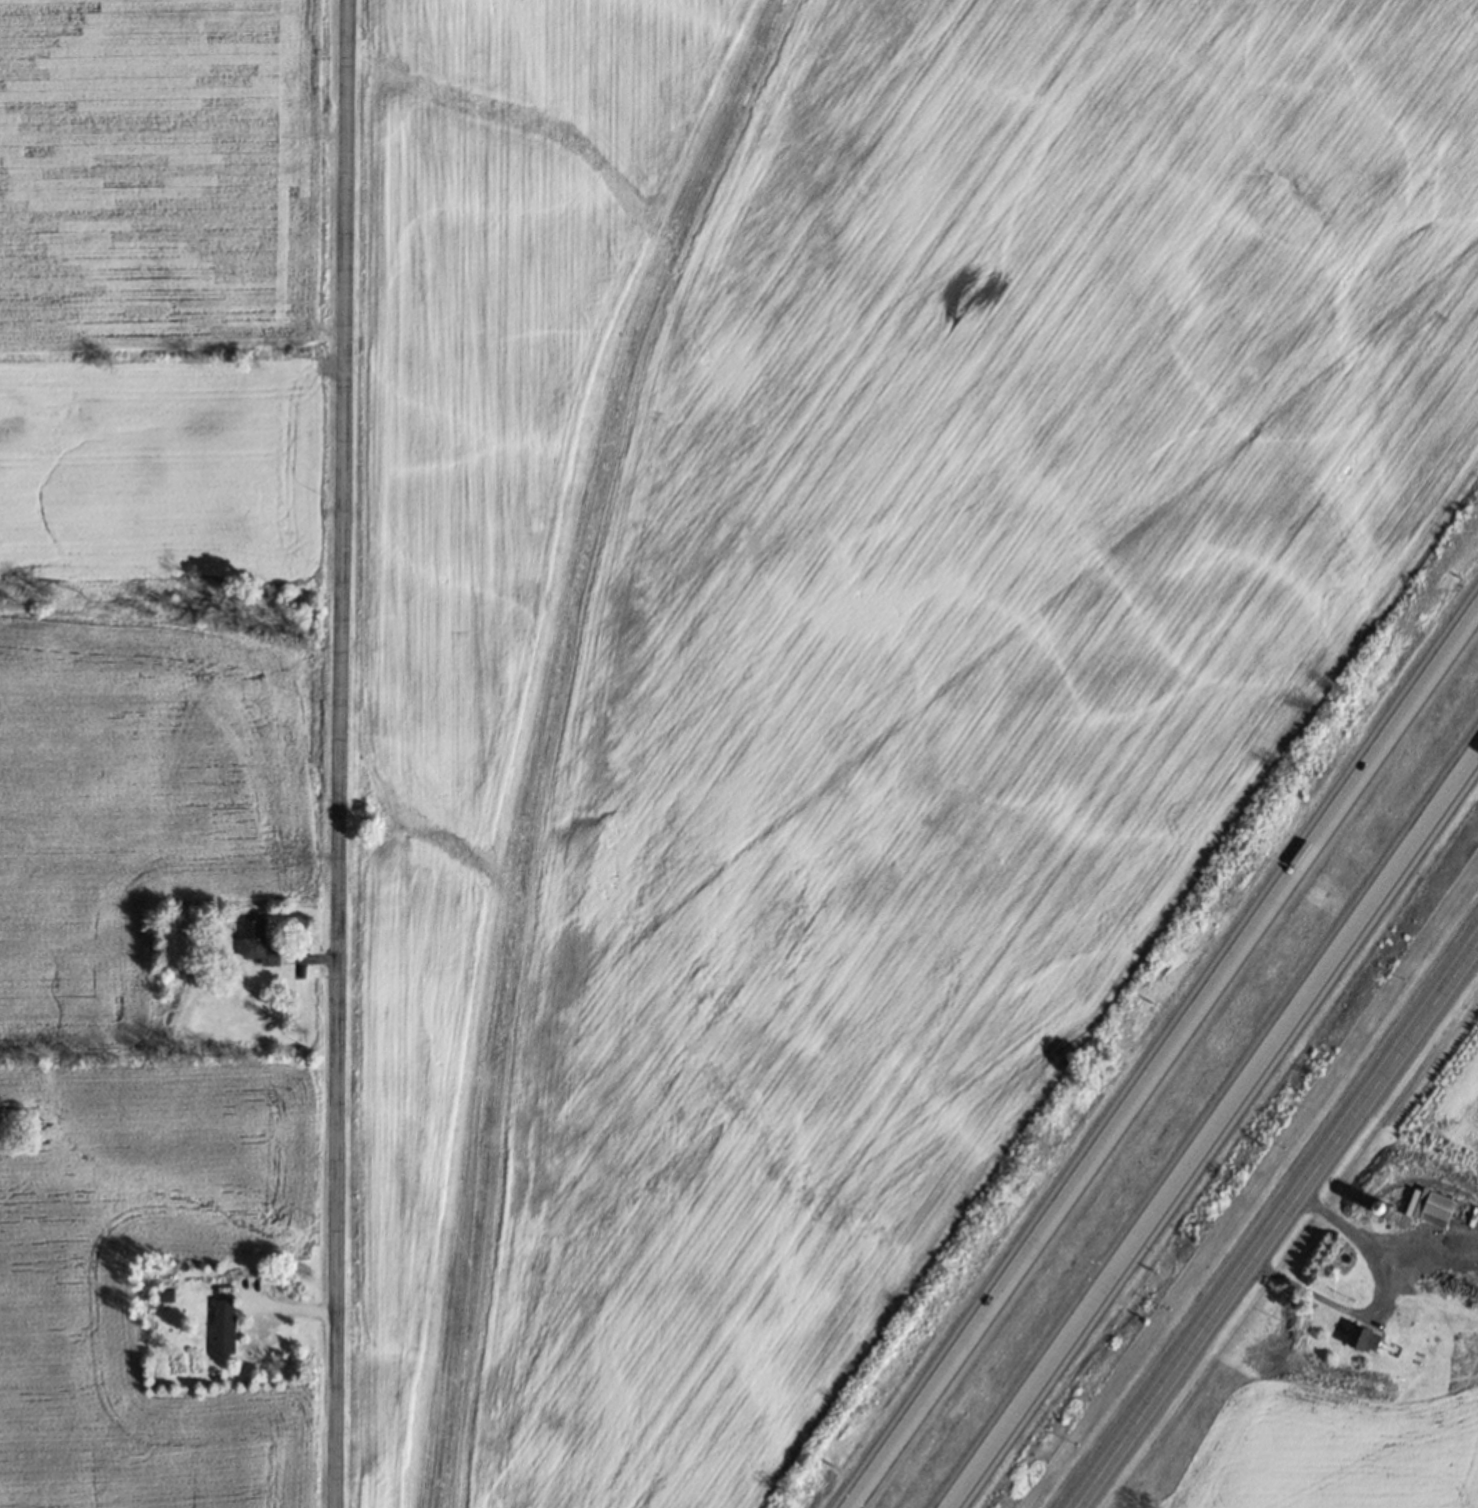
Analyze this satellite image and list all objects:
building: (816, 323)
crop: (821, 642)
crop: (157, 702)
road: (339, 754)
building: (257, 944)
road: (1155, 1045)
road: (1221, 1143)
building: (1437, 1209)
road: (1278, 1230)
road: (1381, 1298)
building: (1401, 1314)
building: (223, 1326)
building: (1365, 1339)

